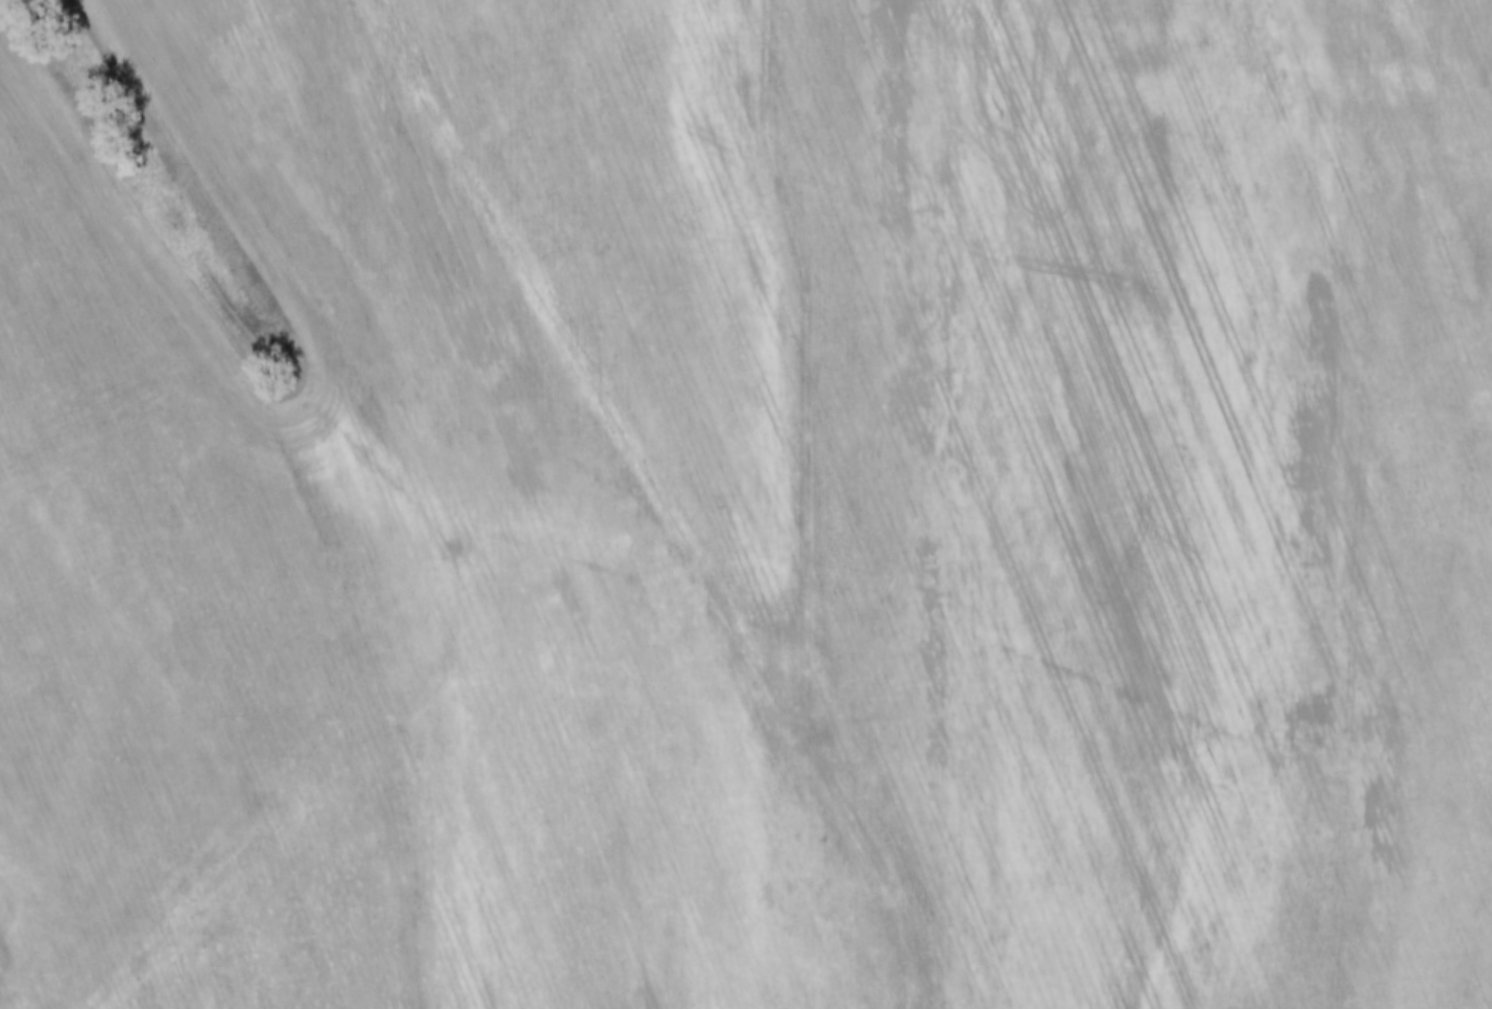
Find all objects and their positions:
road: (432, 455)

